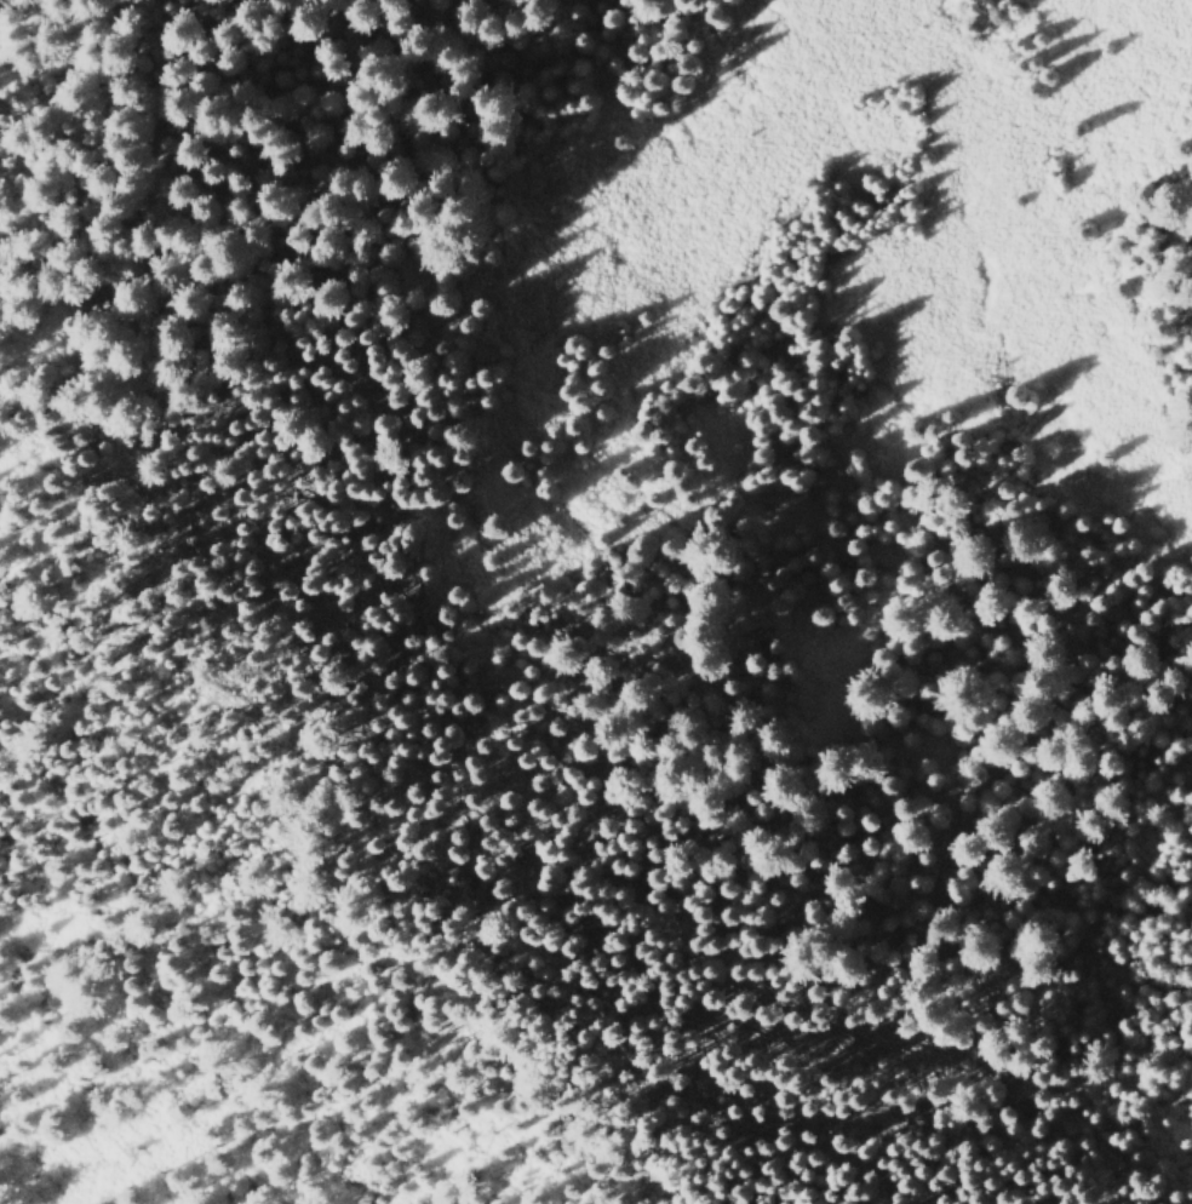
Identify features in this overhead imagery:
road: (315, 868)

